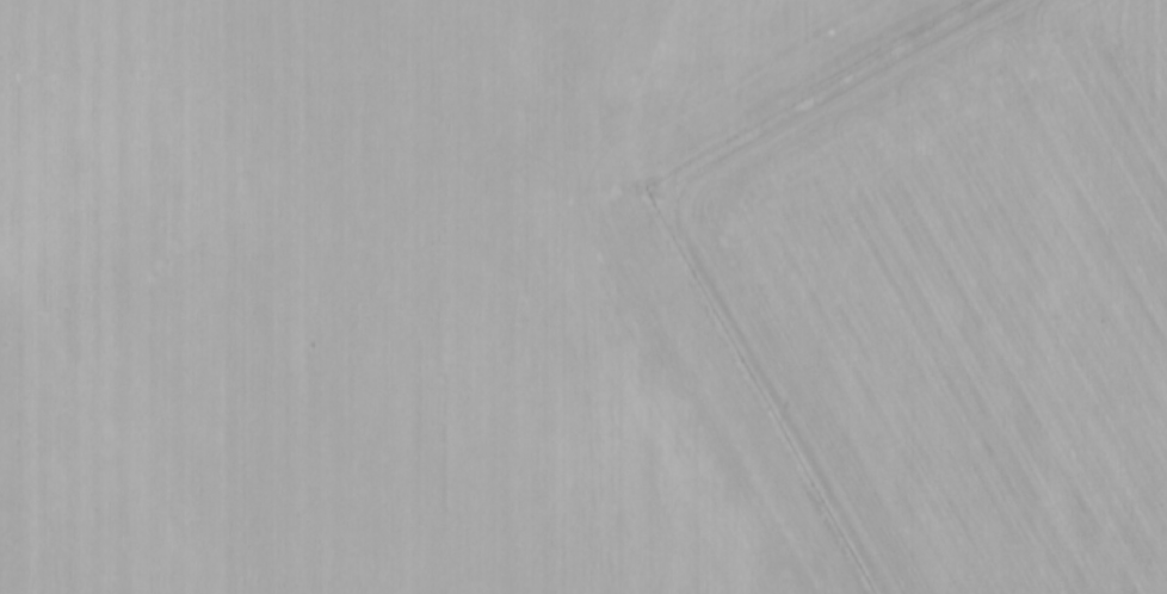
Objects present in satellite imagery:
airport: (952, 293)
crop: (379, 298)

